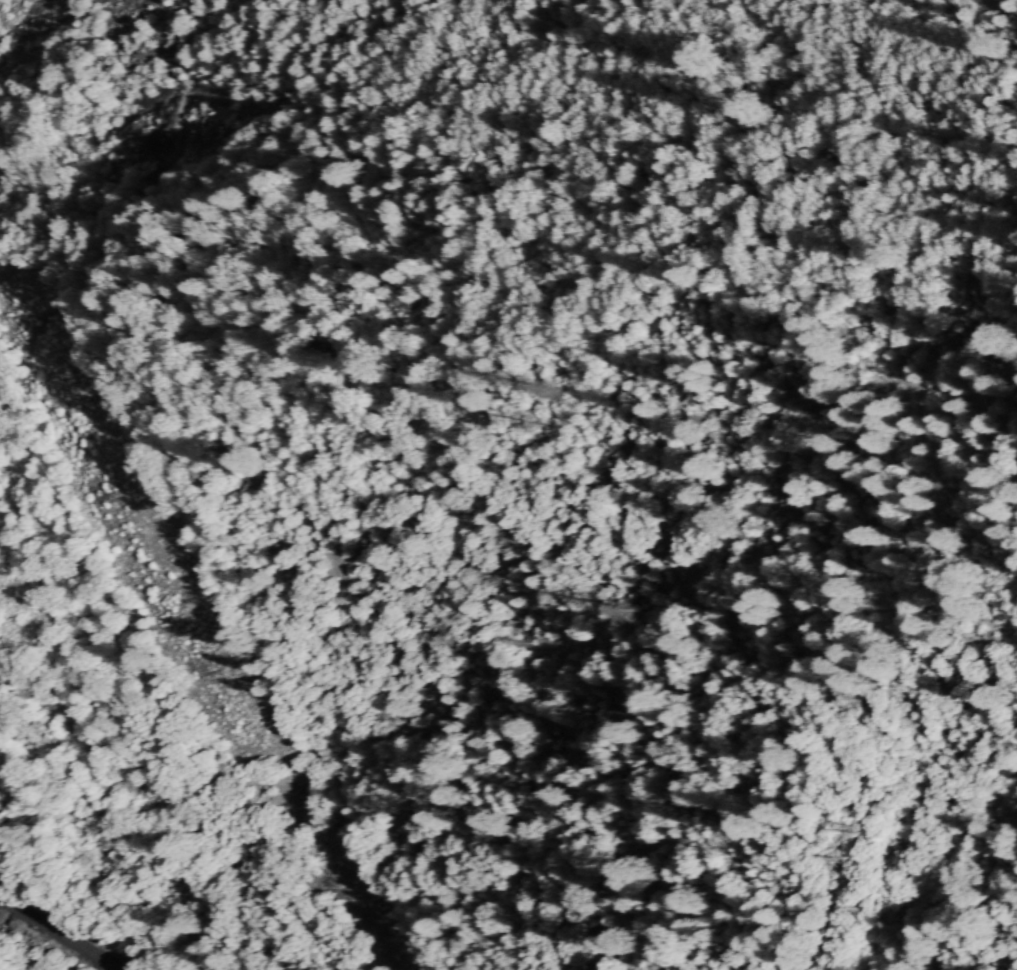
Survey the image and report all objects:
power tower: (116, 498)
railway: (61, 933)

